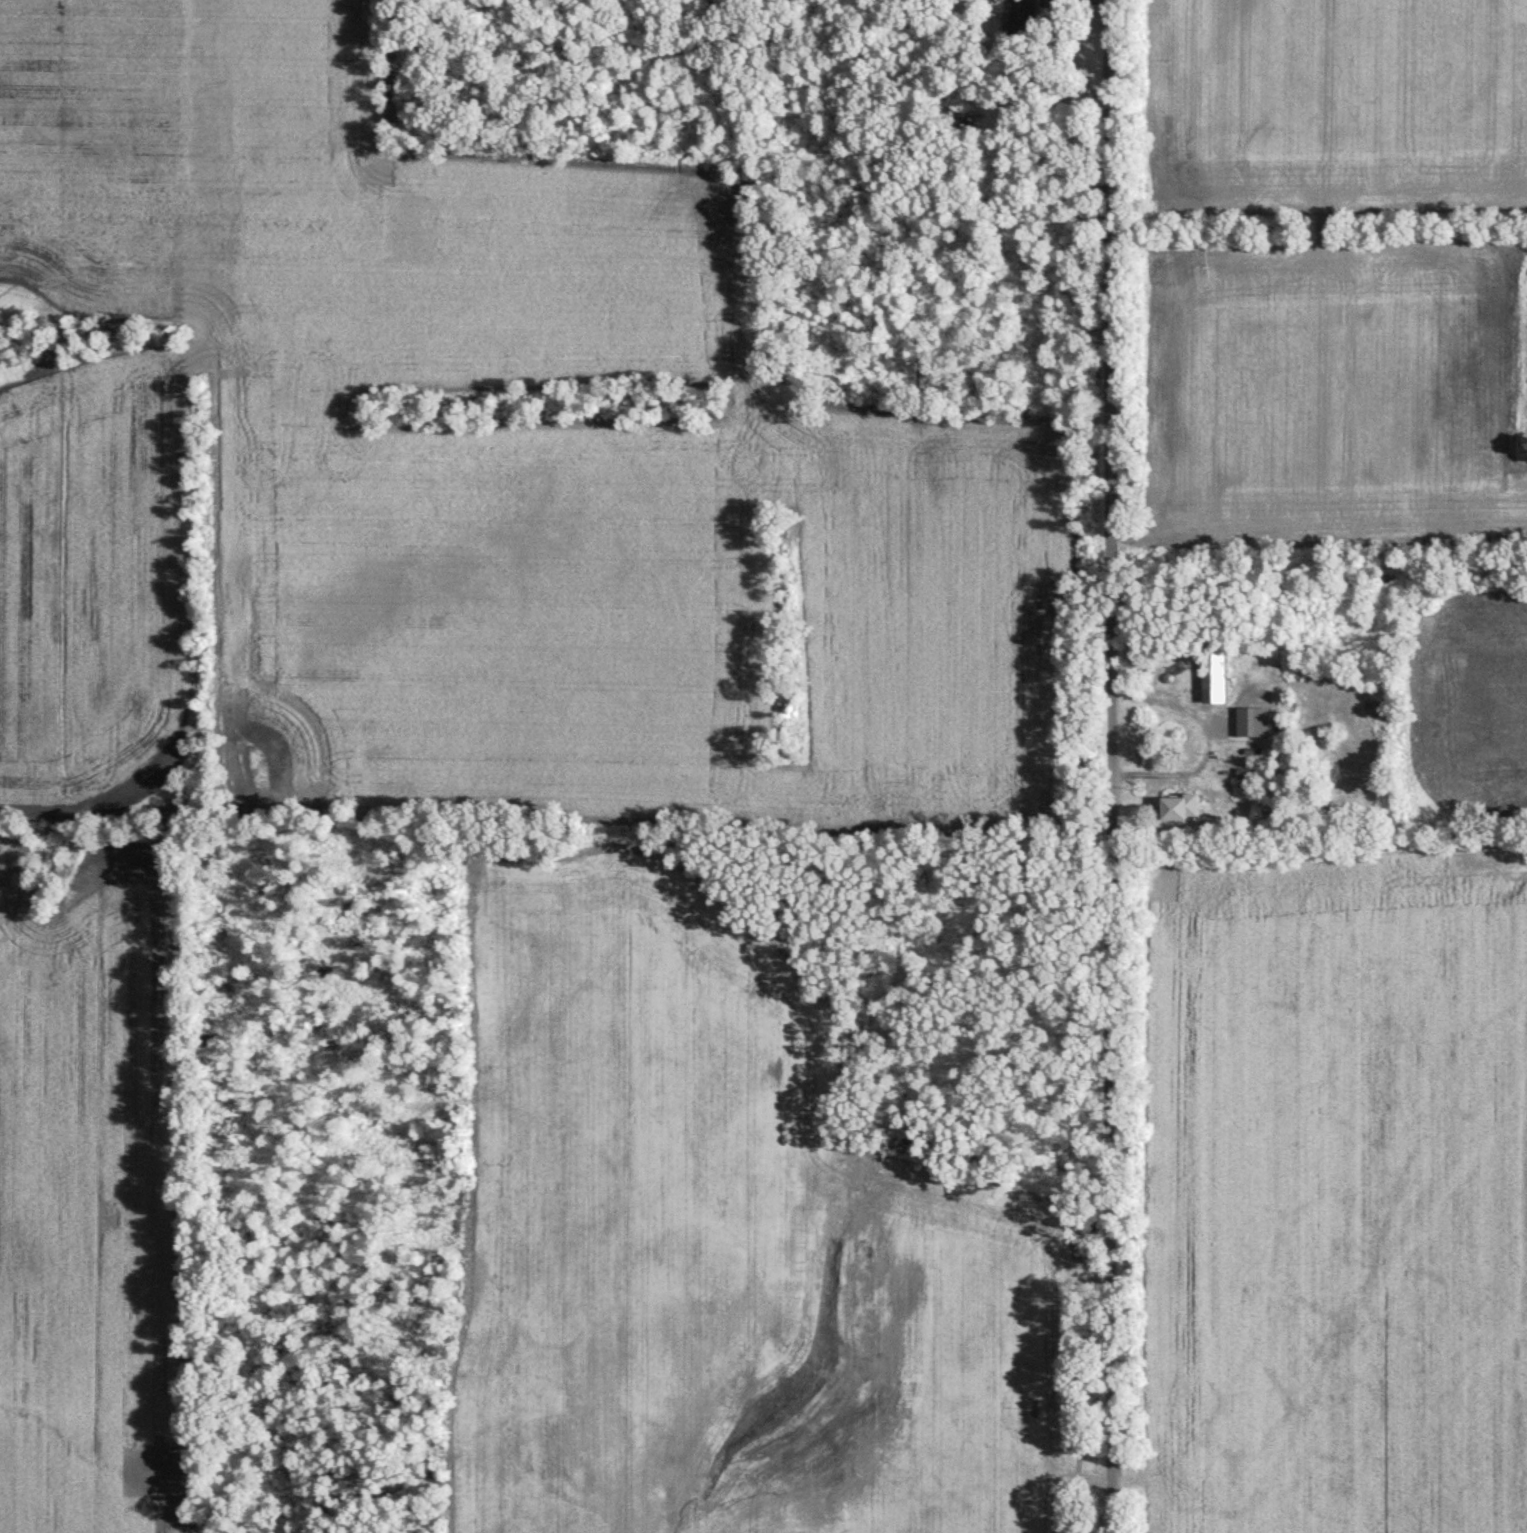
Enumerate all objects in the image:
building: (1216, 679)
building: (1253, 720)
road: (1119, 766)

